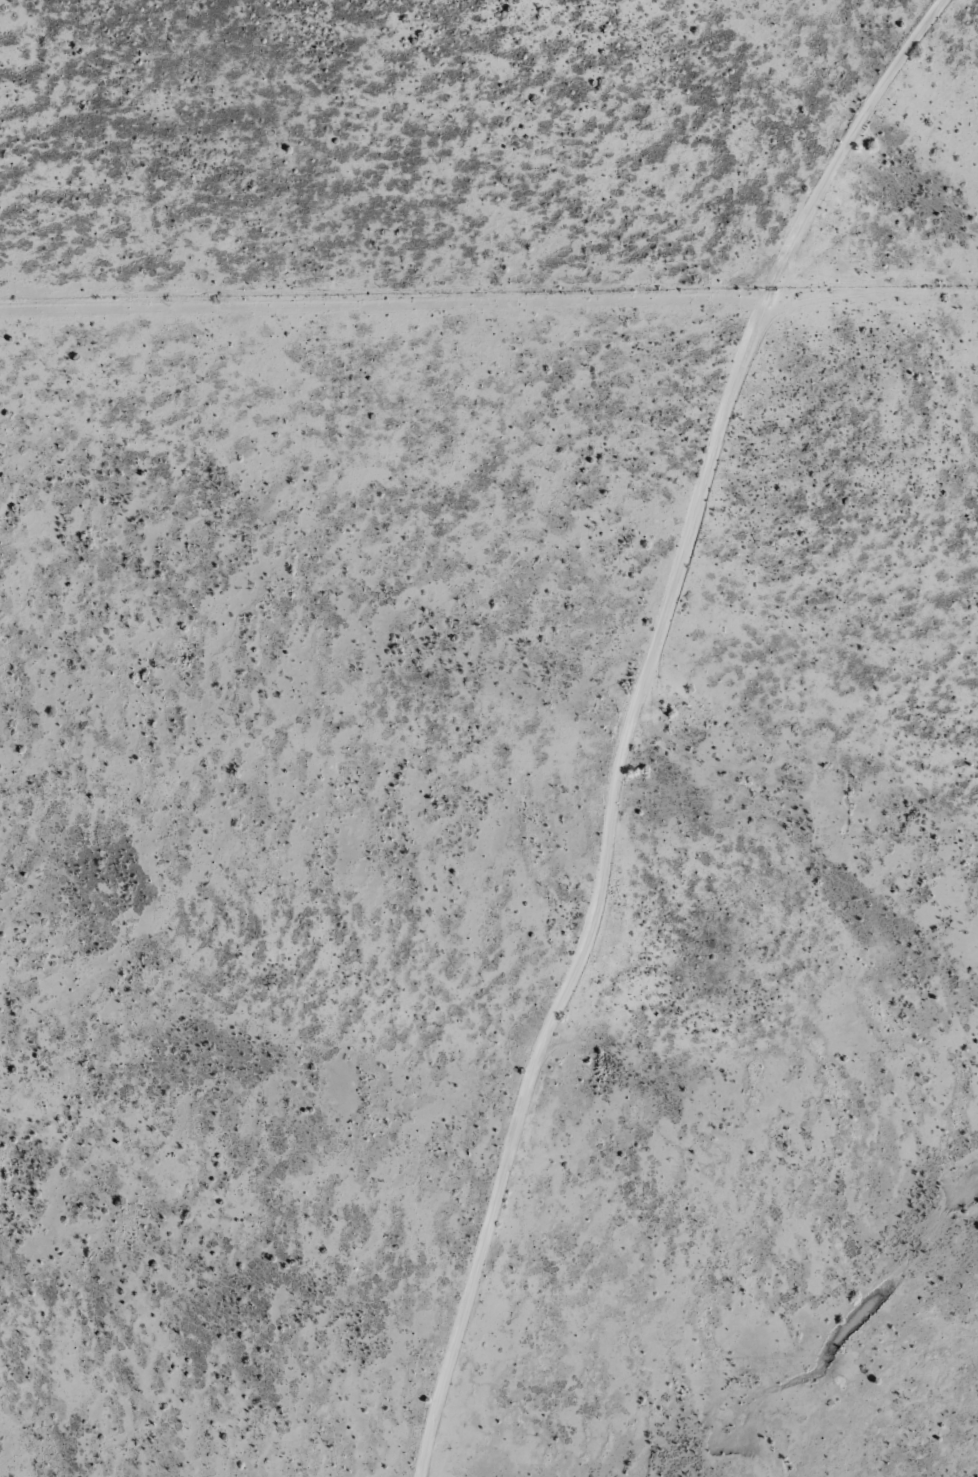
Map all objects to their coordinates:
road: (656, 726)

